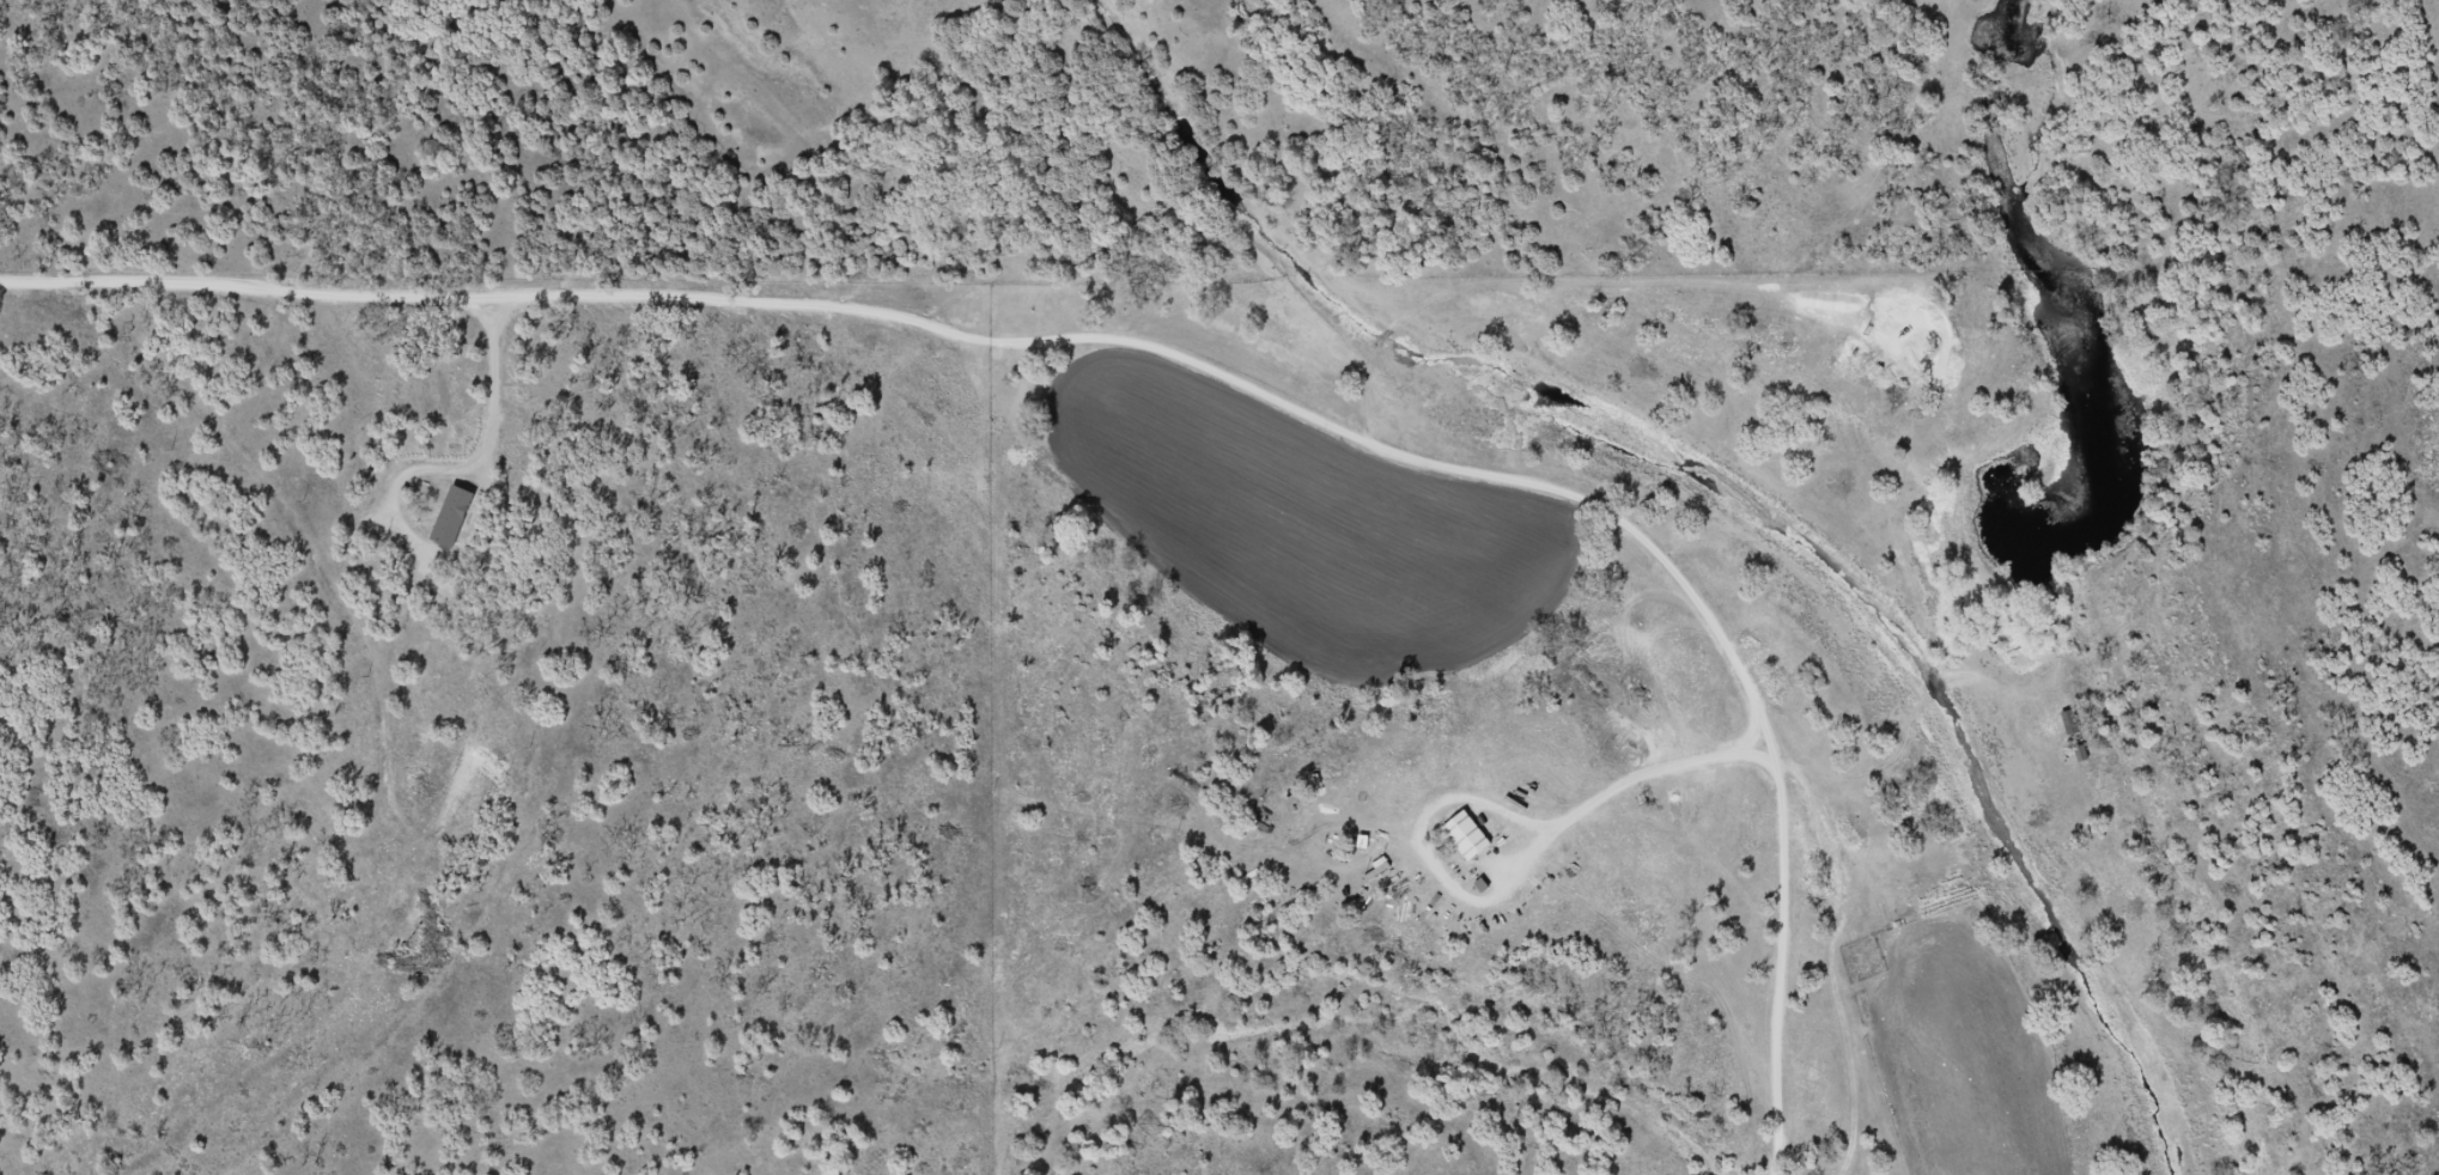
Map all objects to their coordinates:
road: (443, 349)
building: (451, 518)
building: (2070, 724)
building: (1685, 808)
building: (1467, 836)

